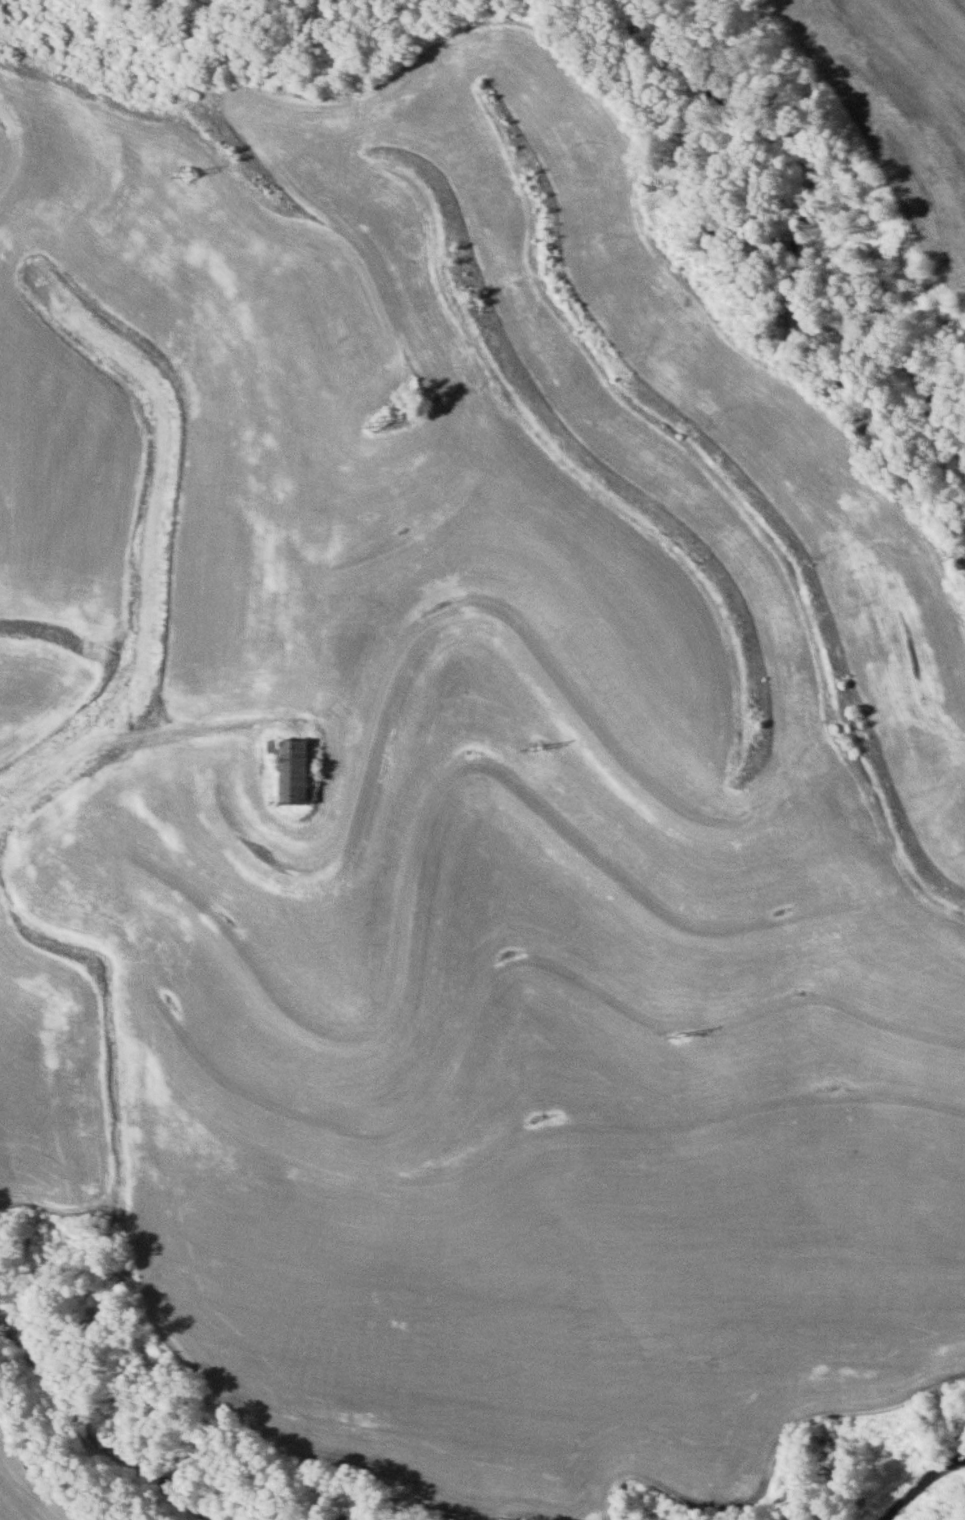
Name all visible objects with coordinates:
power tower: (190, 175)
power tower: (379, 422)
power tower: (533, 753)
building: (289, 768)
road: (59, 828)
road: (114, 890)
power tower: (681, 1038)

